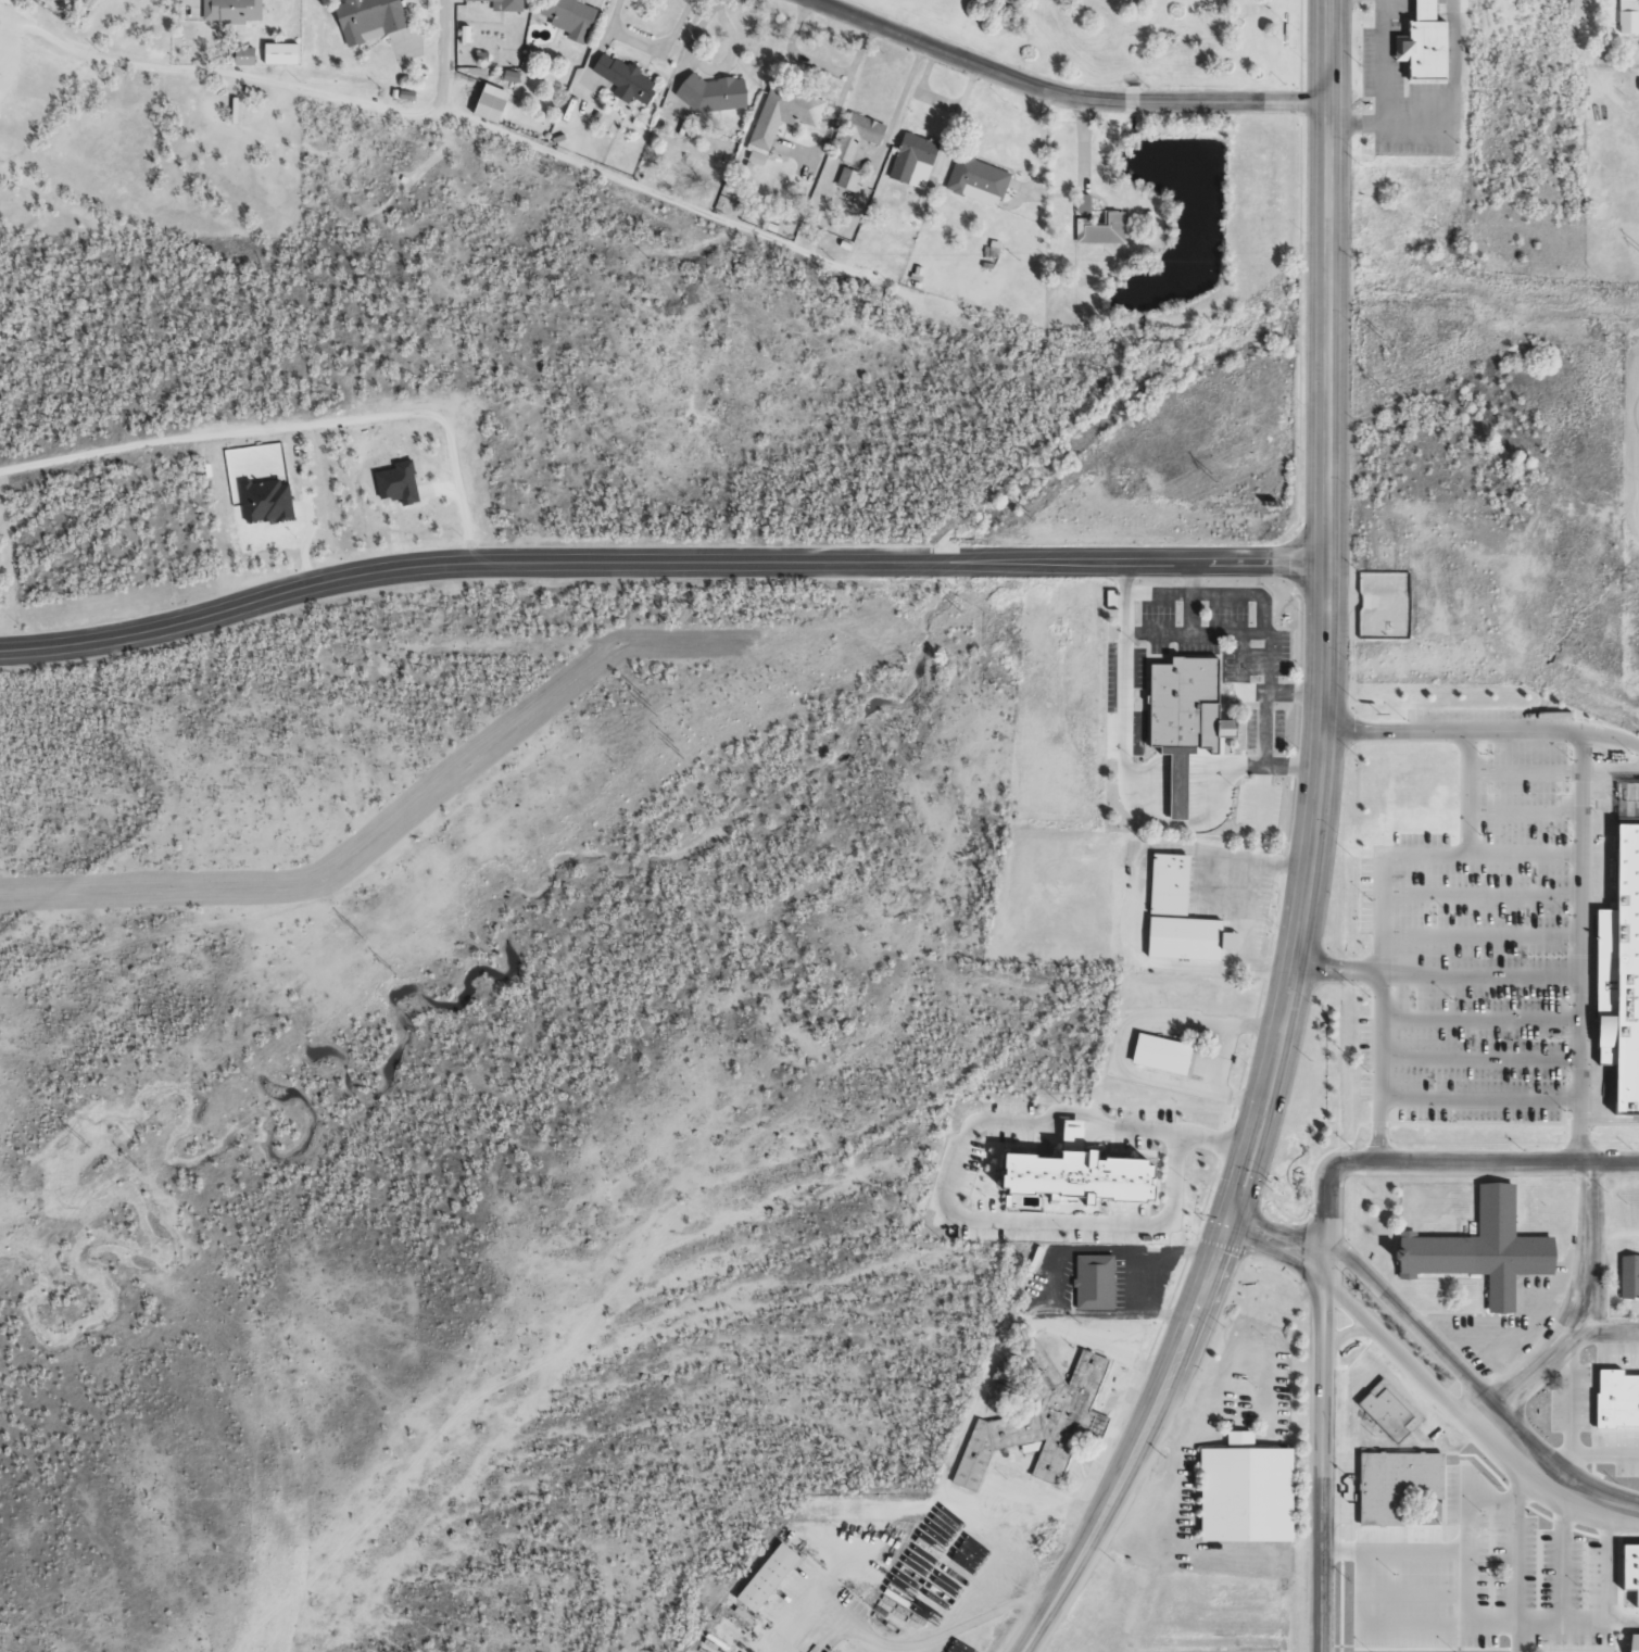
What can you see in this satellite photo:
building: (497, 7)
building: (236, 10)
building: (1628, 16)
building: (373, 17)
building: (564, 21)
park: (1130, 39)
building: (461, 40)
building: (1419, 49)
building: (287, 53)
road: (437, 54)
building: (251, 55)
building: (1, 74)
building: (1637, 84)
building: (621, 85)
road: (1066, 96)
building: (707, 99)
building: (497, 103)
building: (486, 110)
building: (773, 119)
building: (853, 143)
building: (908, 159)
building: (974, 184)
building: (843, 185)
building: (1092, 231)
power tower: (1287, 373)
power tower: (1386, 388)
power tower: (1211, 476)
building: (402, 482)
building: (268, 499)
power tower: (1029, 515)
road: (660, 564)
power tower: (954, 608)
road: (1331, 616)
building: (1187, 705)
power tower: (651, 709)
road: (1399, 731)
road: (1554, 734)
power tower: (678, 749)
road: (1467, 795)
road: (1586, 802)
road: (1477, 859)
building: (1175, 887)
power tower: (358, 933)
building: (1181, 937)
road: (1477, 940)
power tower: (394, 971)
road: (1438, 978)
building: (1617, 984)
road: (1378, 1008)
road: (1577, 1011)
road: (1478, 1023)
building: (1156, 1060)
road: (1478, 1062)
road: (1478, 1105)
power tower: (85, 1145)
road: (1439, 1161)
power tower: (138, 1164)
road: (951, 1174)
building: (1070, 1187)
traffic signals: (1228, 1220)
road: (1275, 1238)
building: (1479, 1257)
building: (1629, 1276)
building: (1094, 1282)
road: (1580, 1309)
road: (1414, 1323)
road: (1605, 1332)
road: (1394, 1348)
building: (1614, 1407)
building: (1387, 1409)
building: (1039, 1418)
road: (1144, 1443)
building: (1029, 1447)
road: (1323, 1454)
road: (1553, 1481)
building: (1397, 1483)
building: (1239, 1498)
building: (765, 1577)
building: (1628, 1580)
building: (1631, 1648)

